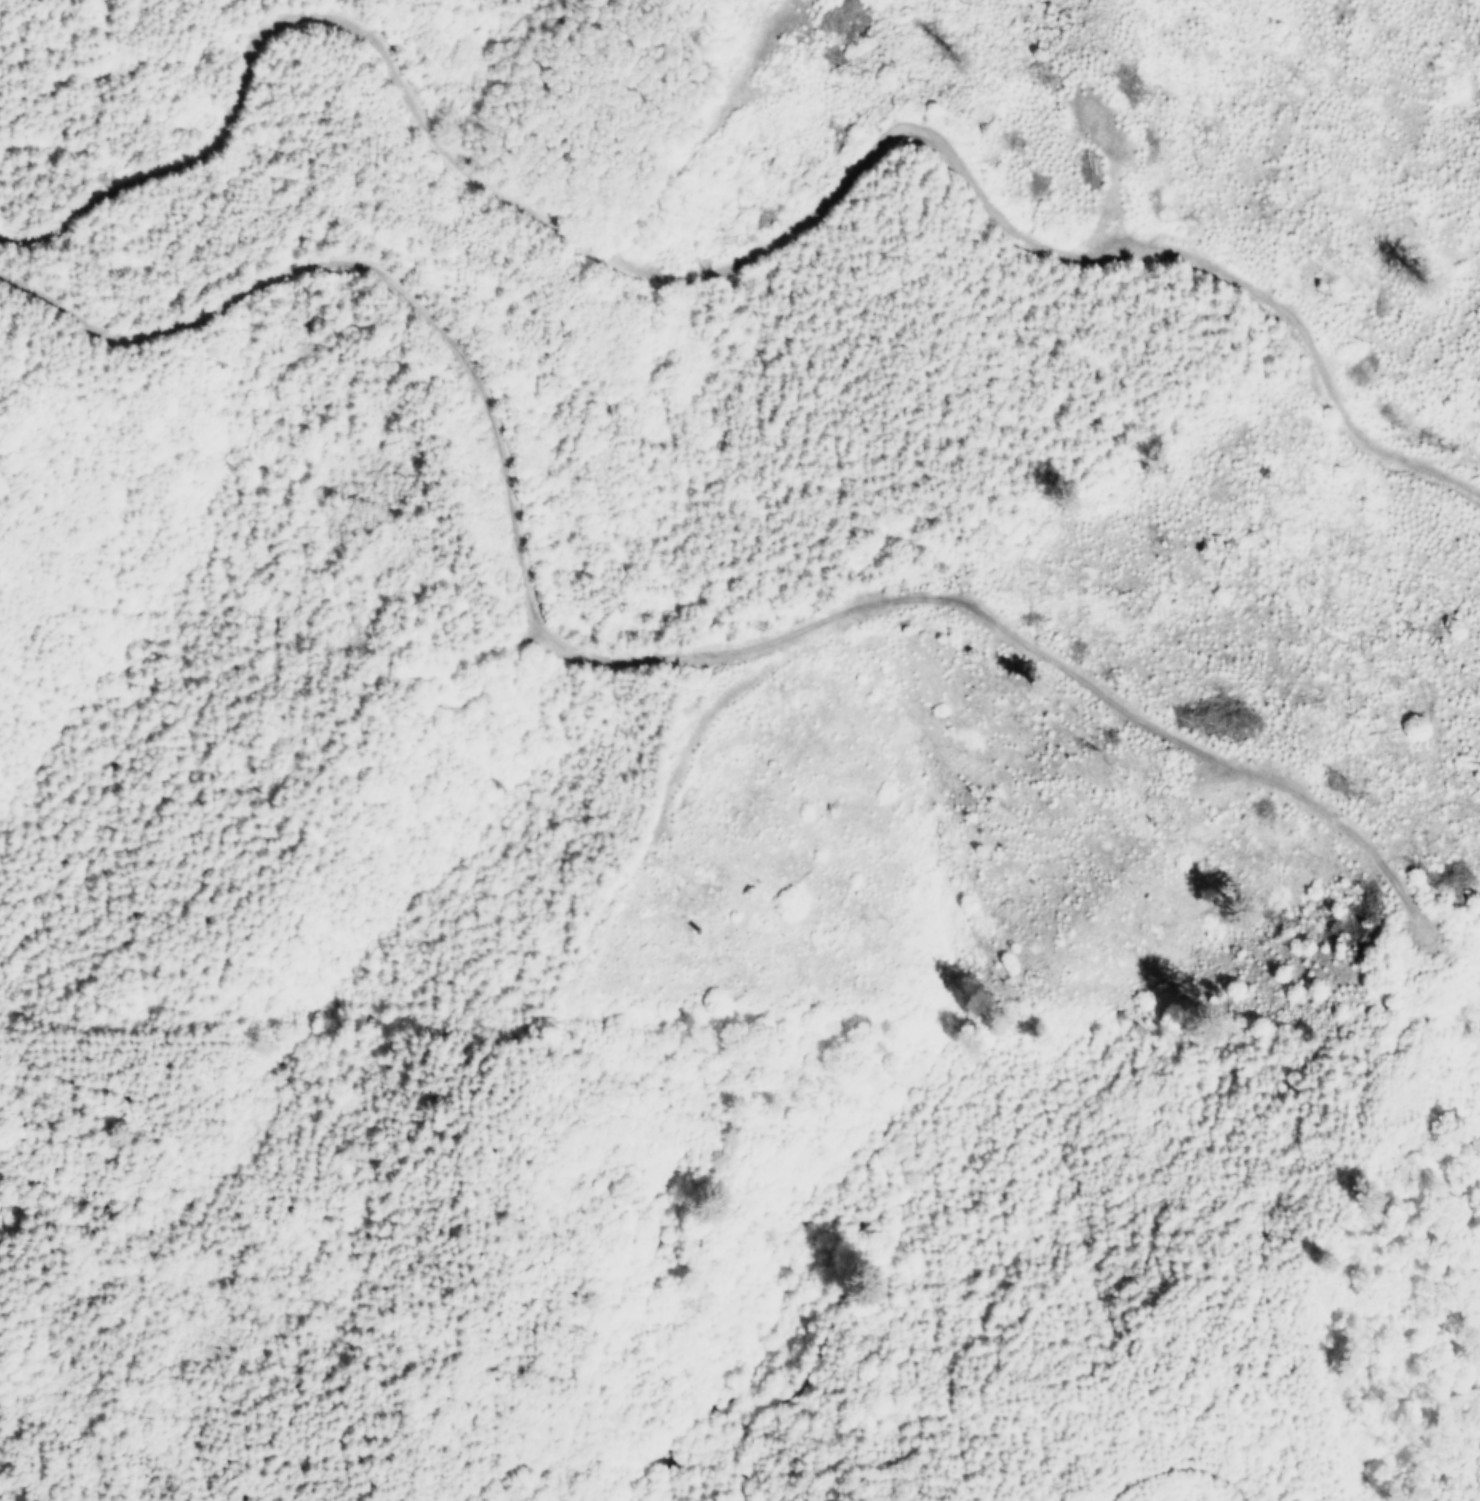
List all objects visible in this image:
road: (1319, 168)
road: (691, 218)

